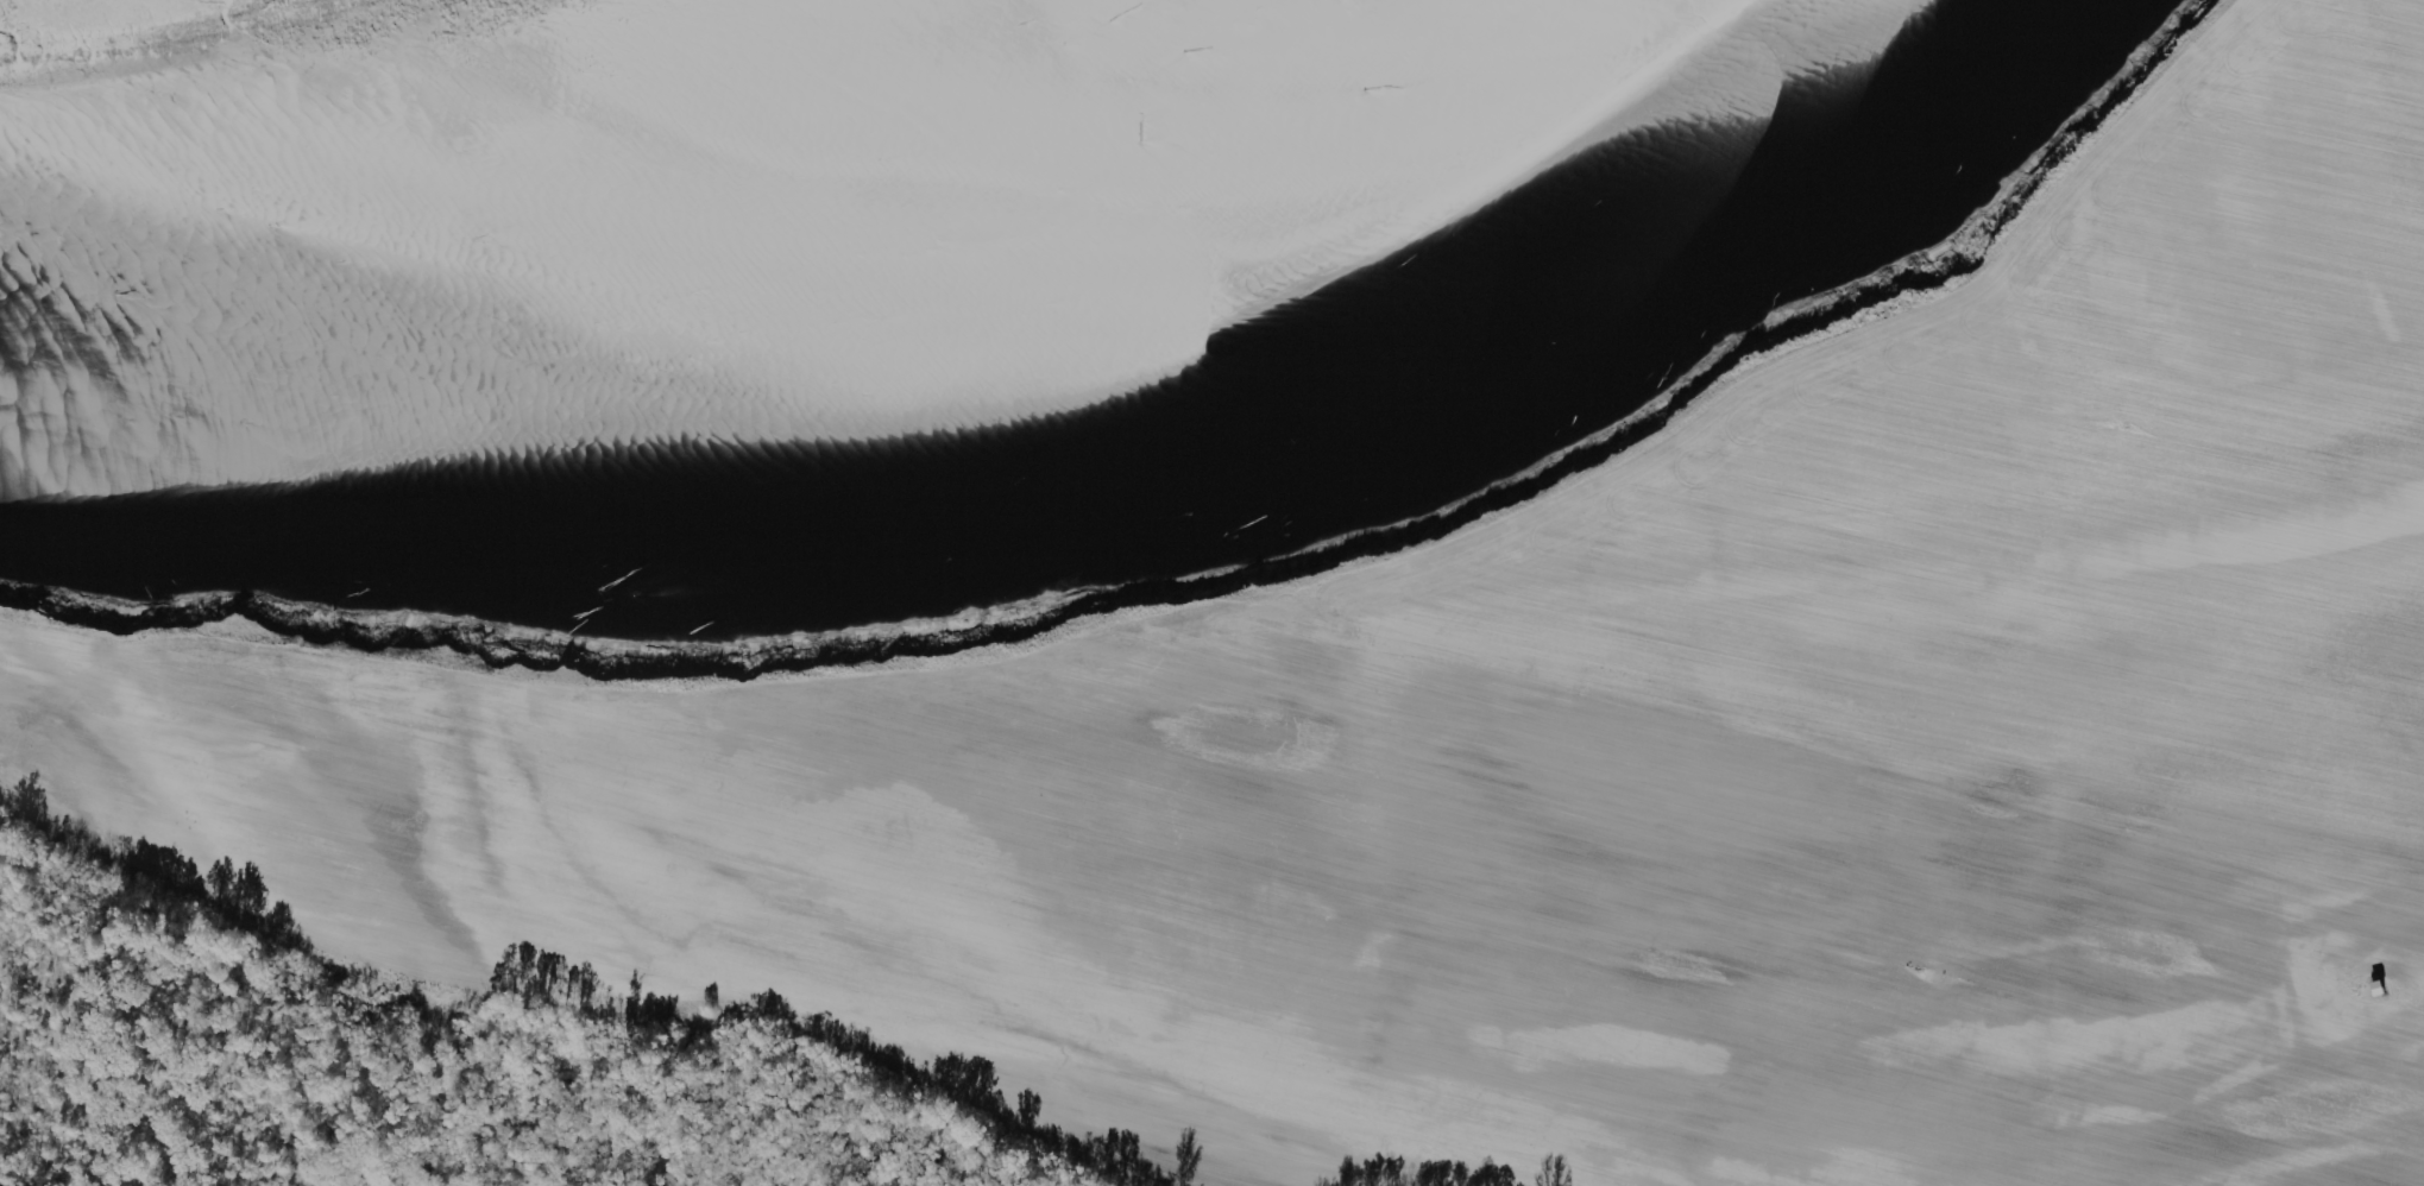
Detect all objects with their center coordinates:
river: (256, 71)

